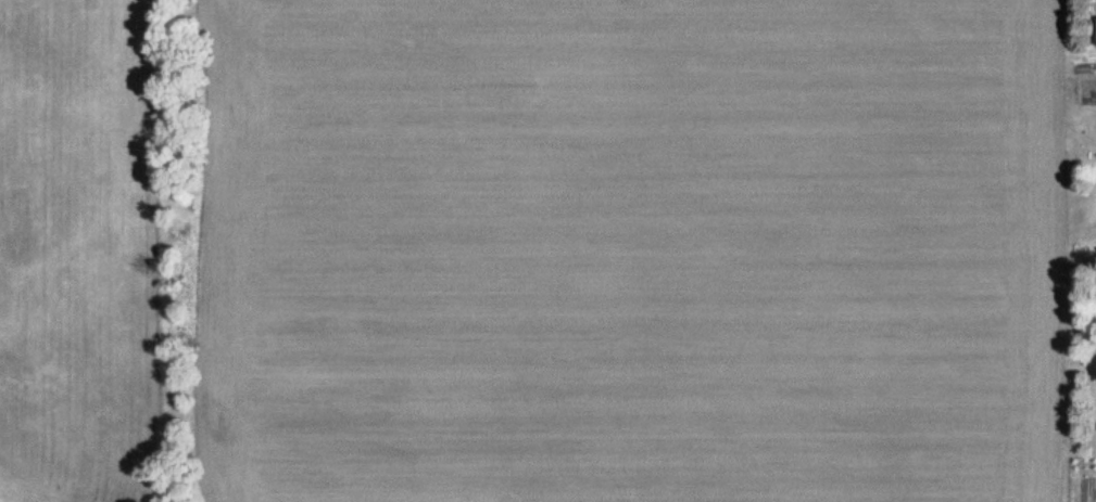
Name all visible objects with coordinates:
building: (1095, 28)

